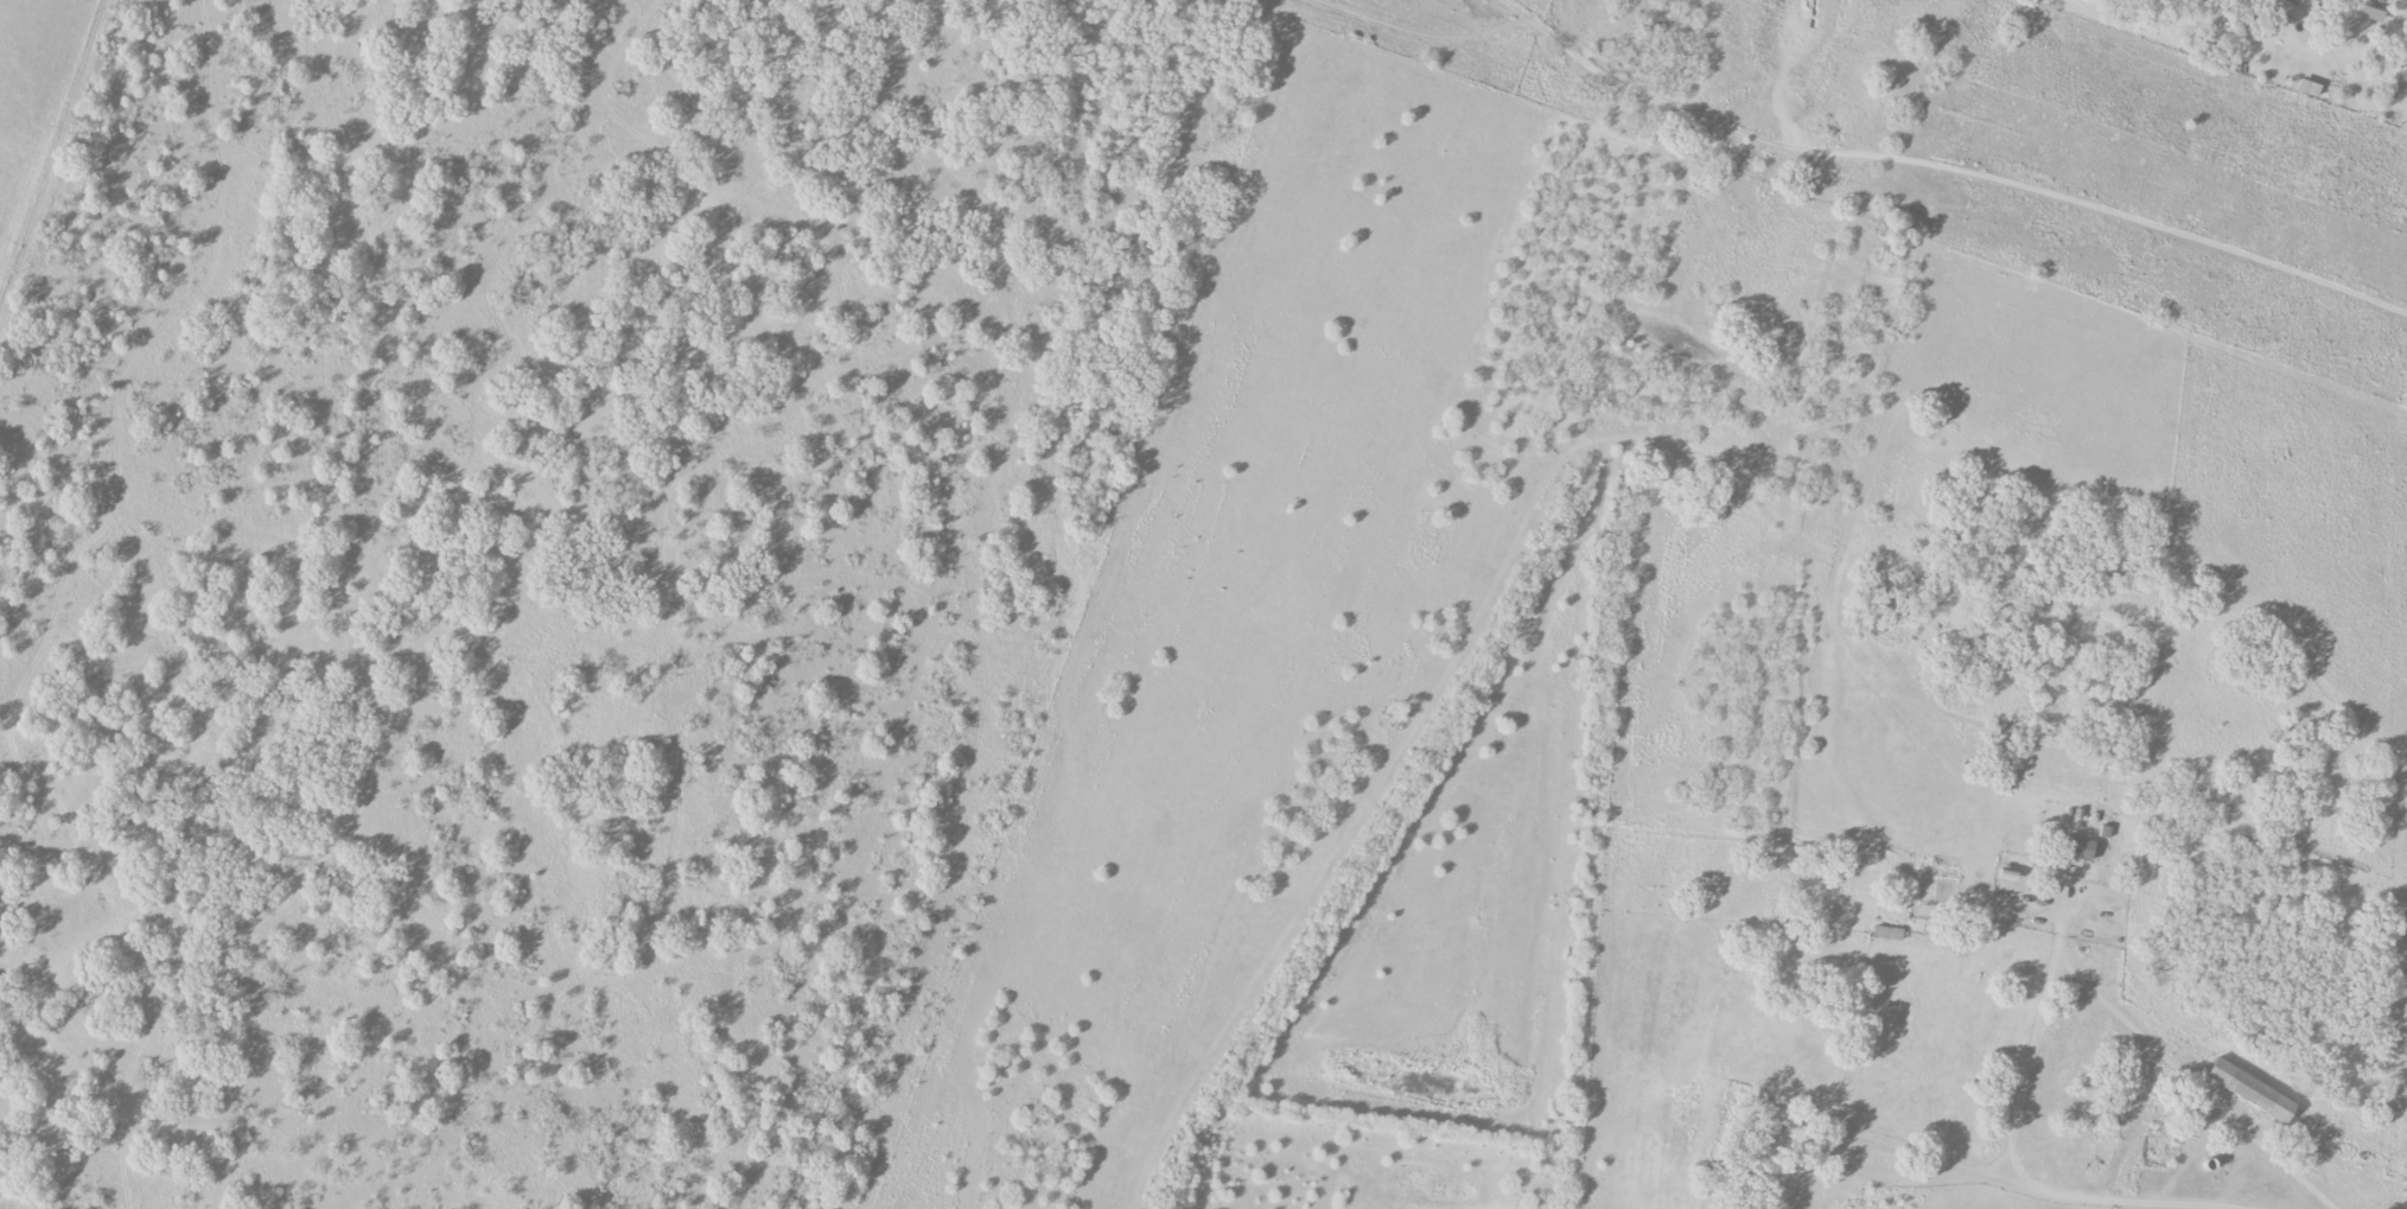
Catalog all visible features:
building: (2316, 1)
building: (2405, 79)
building: (2309, 88)
building: (2078, 852)
road: (2029, 1056)
road: (2172, 1064)
building: (2250, 1092)
building: (1774, 1126)
road: (2020, 1175)

